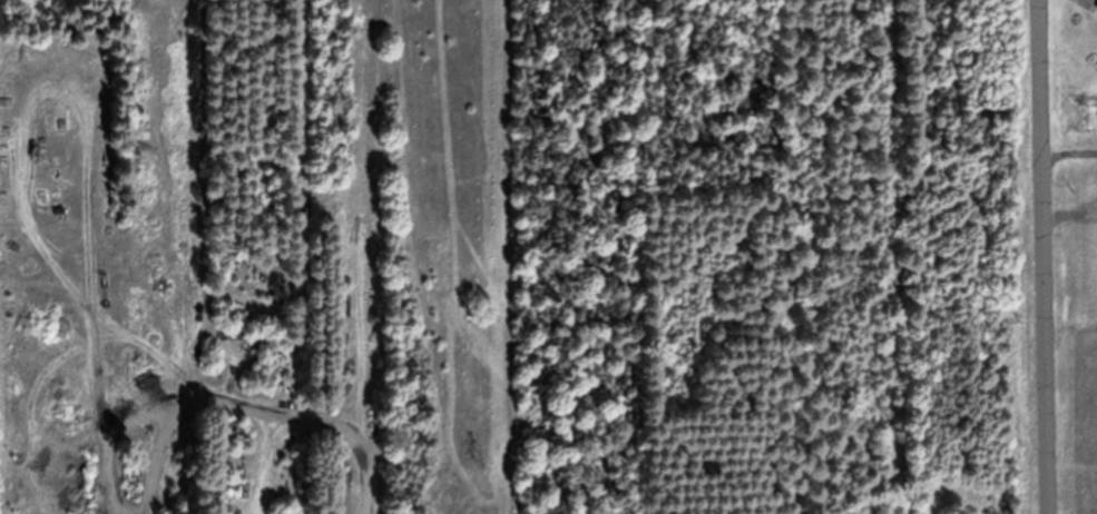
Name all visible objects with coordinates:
building: (298, 185)
road: (1045, 257)
building: (340, 270)
building: (224, 310)
building: (242, 374)
building: (234, 375)
building: (257, 375)
building: (251, 376)
building: (347, 378)
building: (233, 427)
building: (255, 428)
building: (248, 431)
building: (224, 501)
building: (224, 507)

